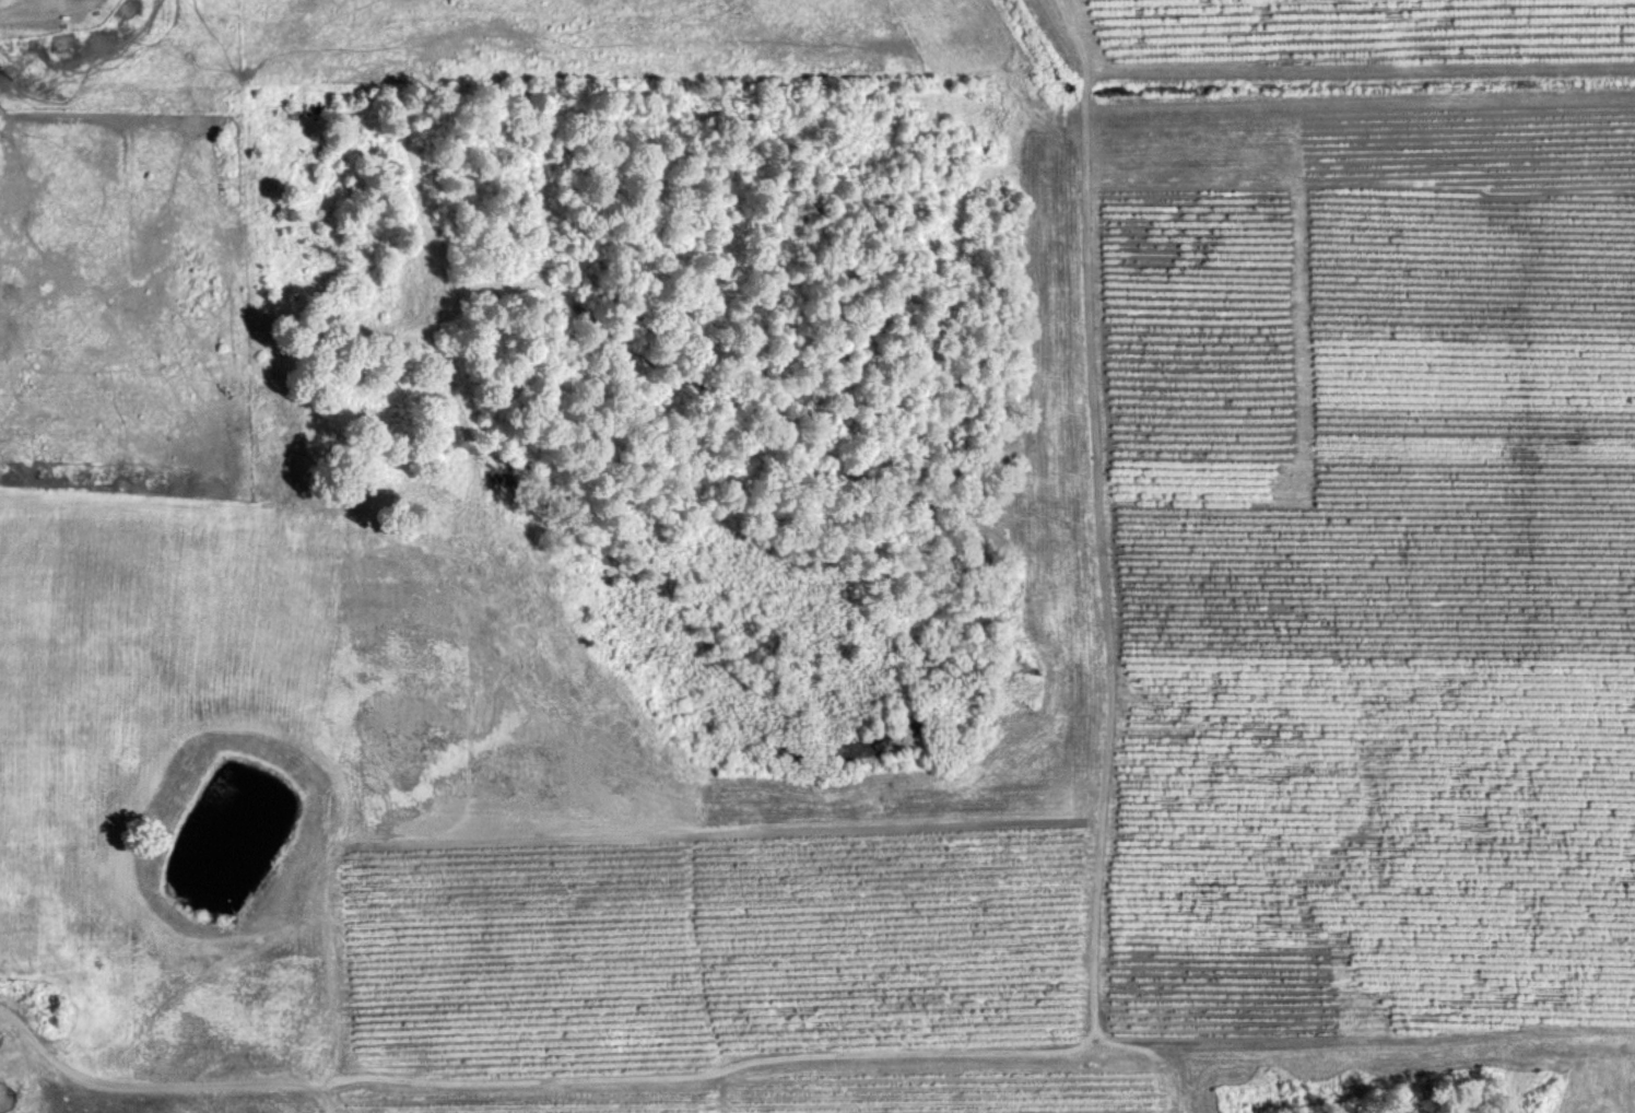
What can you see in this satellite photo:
road: (1054, 1045)

